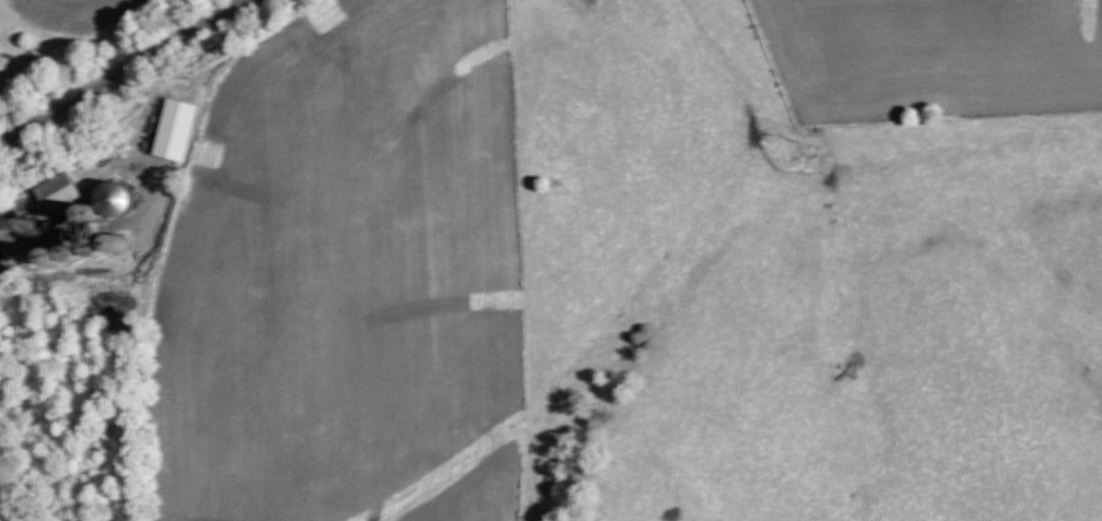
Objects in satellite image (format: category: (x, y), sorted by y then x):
road: (119, 71)
building: (174, 127)
building: (57, 190)
building: (90, 221)

